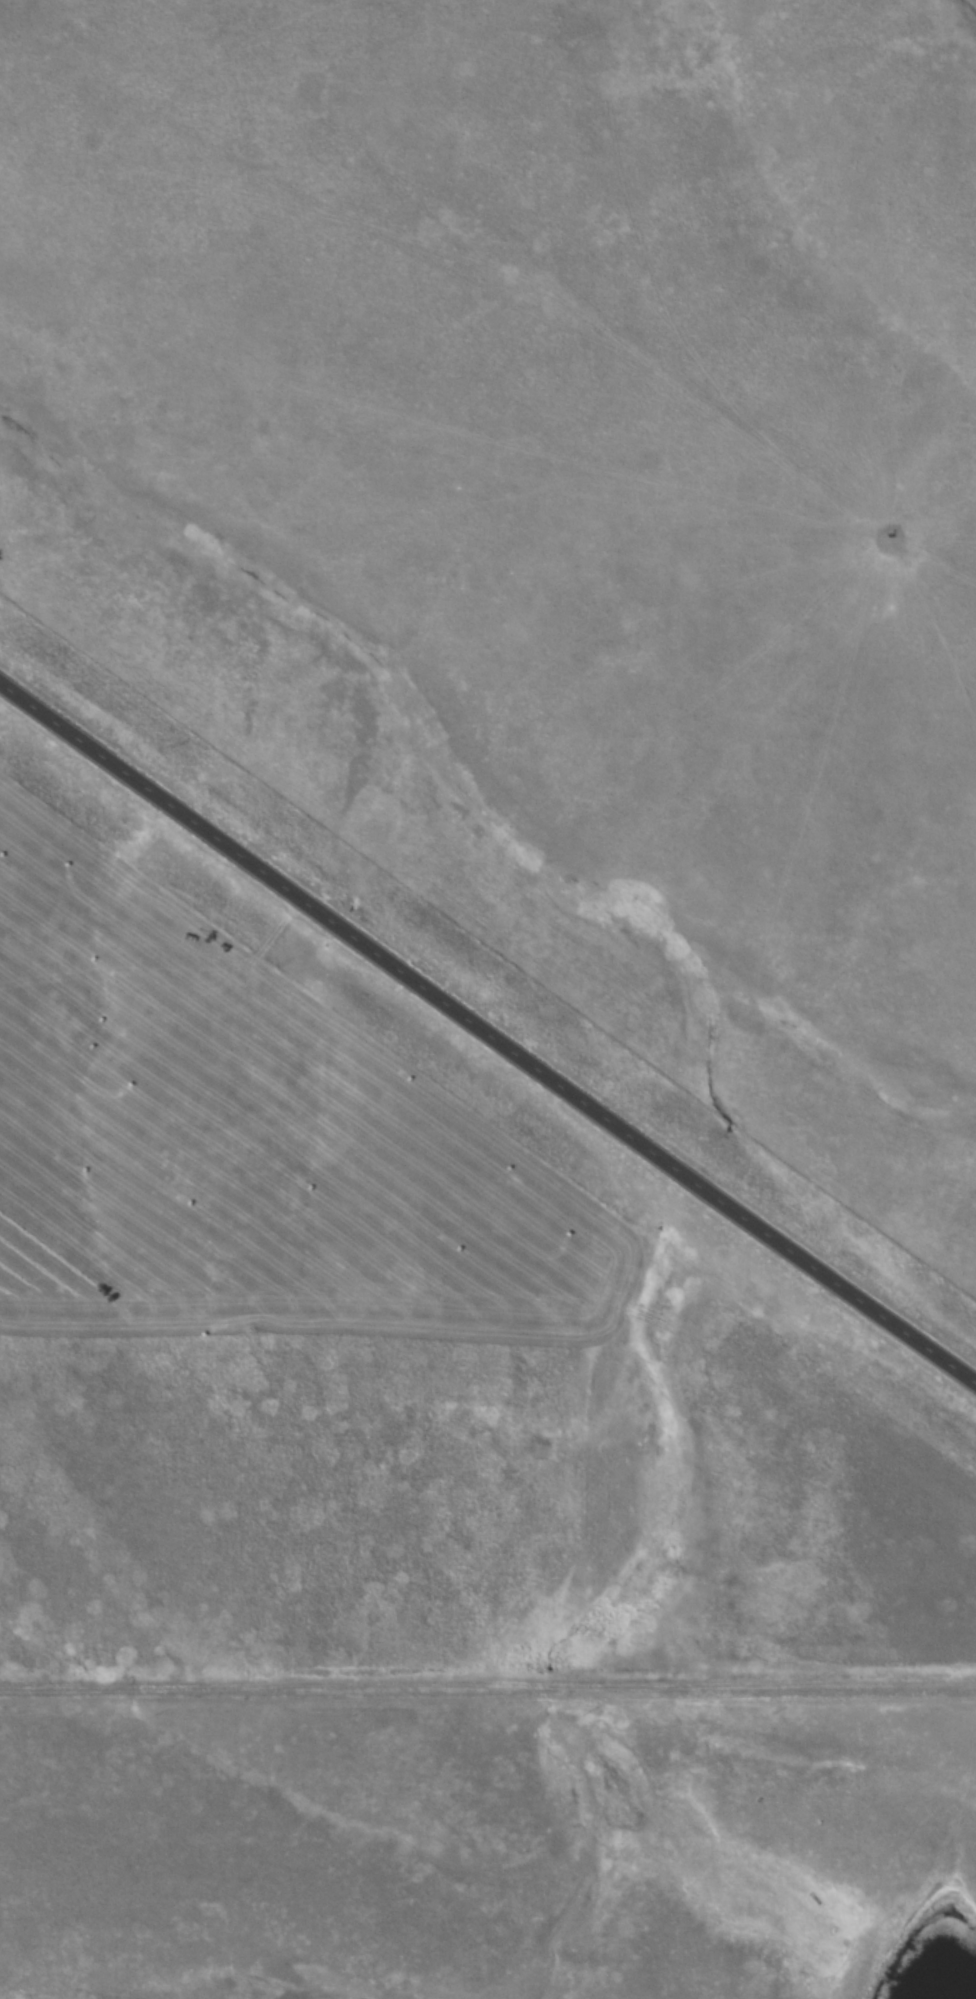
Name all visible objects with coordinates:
road: (487, 1042)
road: (488, 1689)

